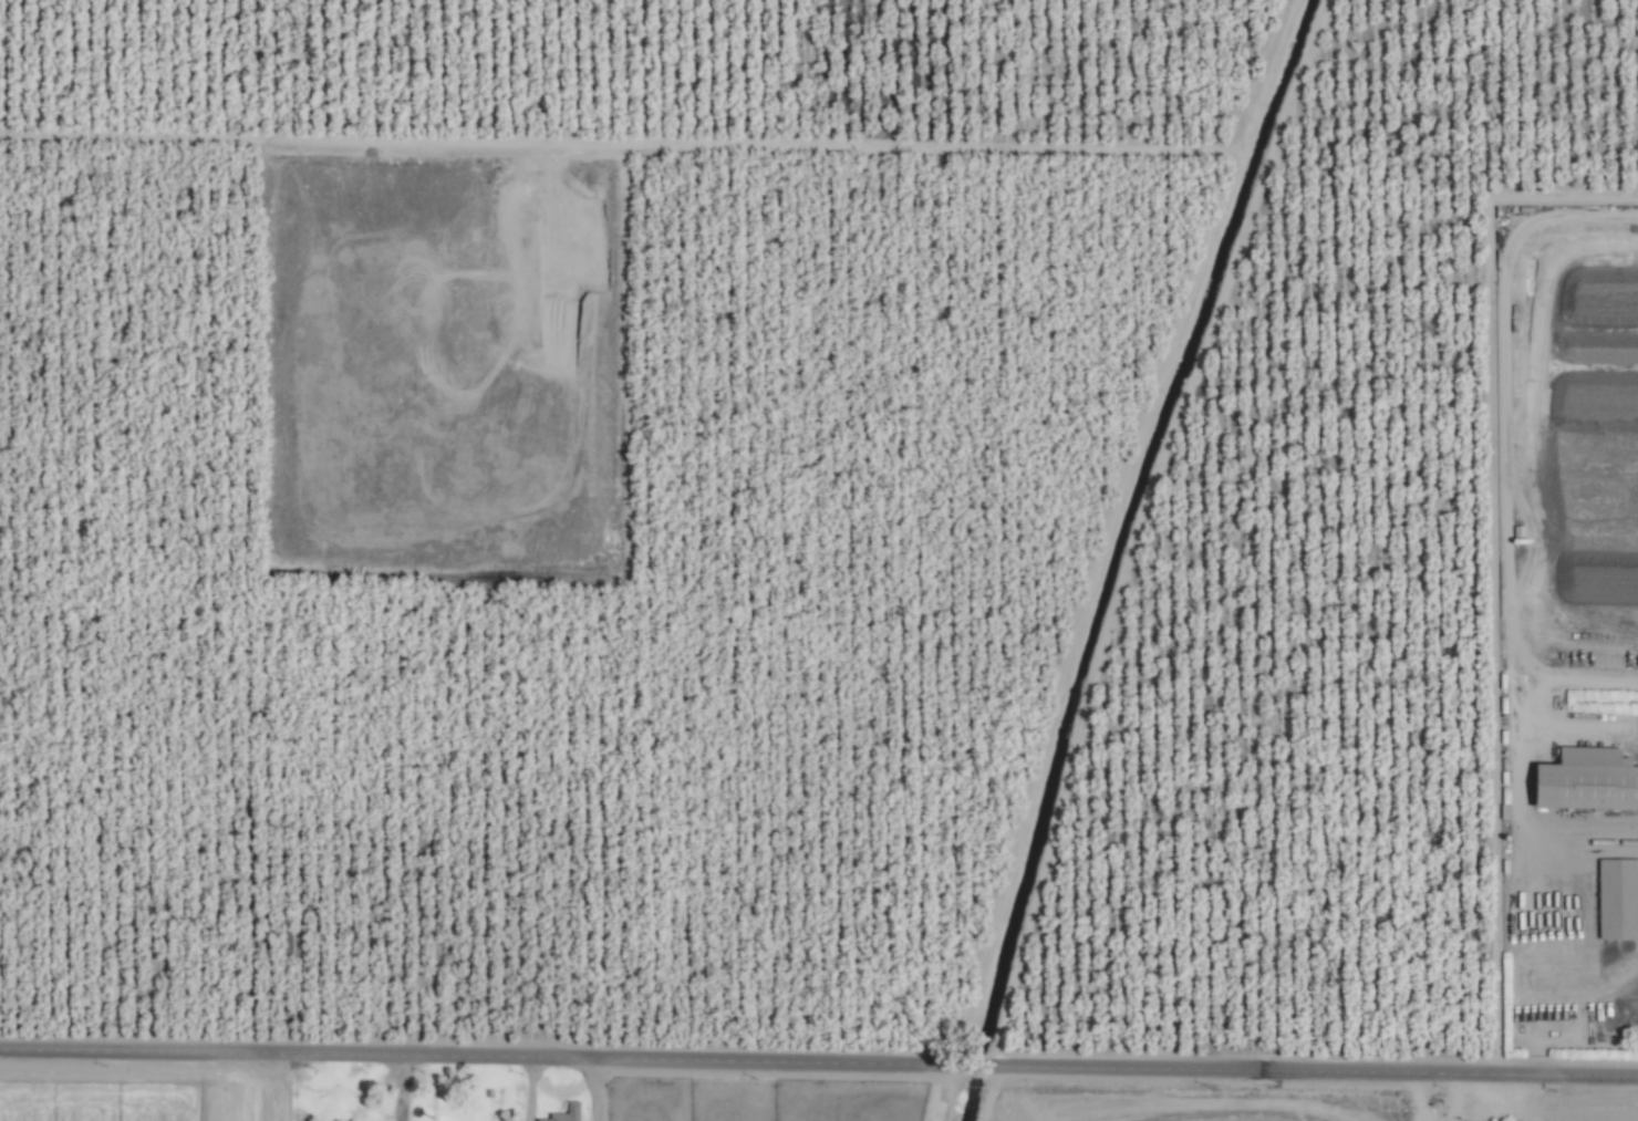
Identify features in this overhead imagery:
crop: (819, 560)
road: (1526, 758)
building: (1590, 778)
road: (819, 1057)
road: (259, 1083)
road: (400, 1086)
road: (531, 1087)
road: (592, 1087)
building: (568, 1113)

